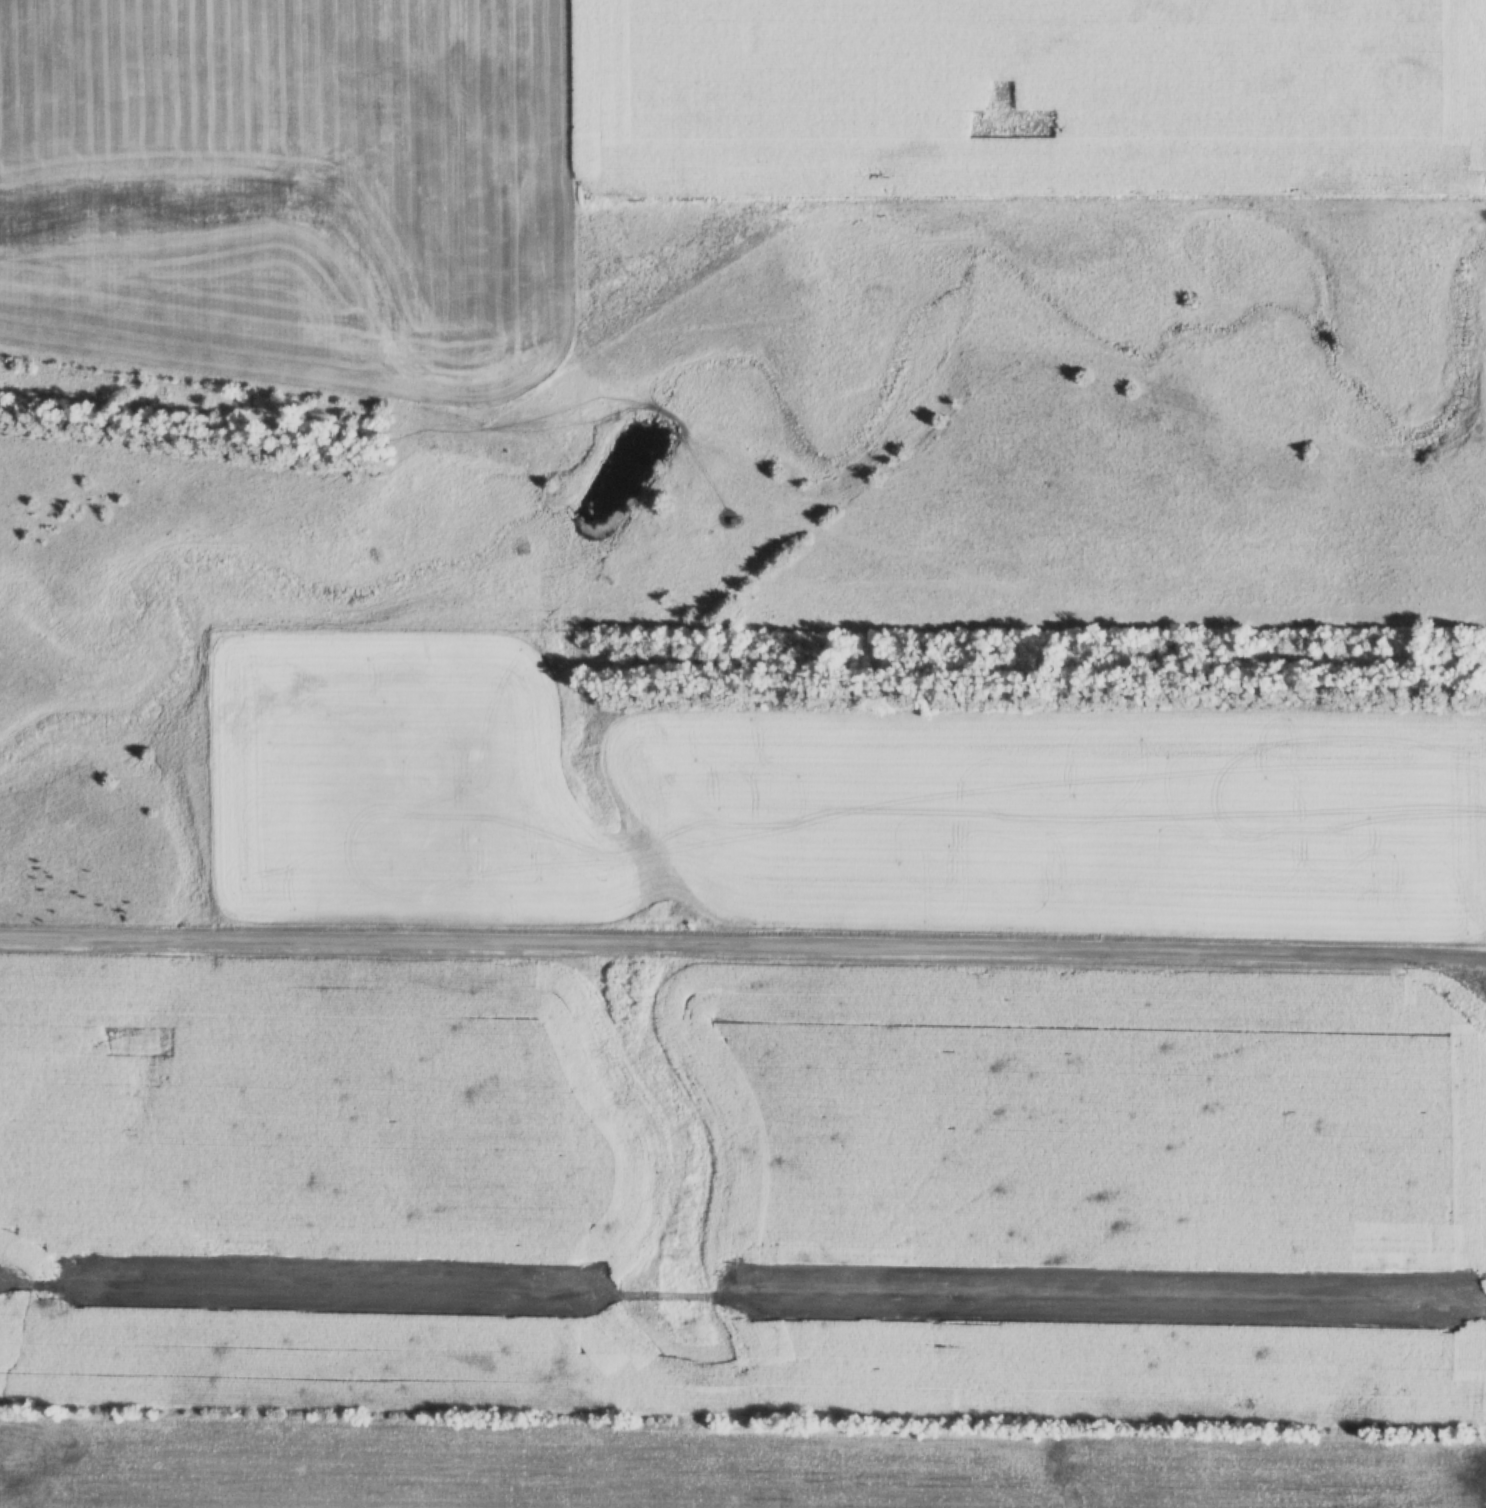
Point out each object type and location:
road: (743, 951)

